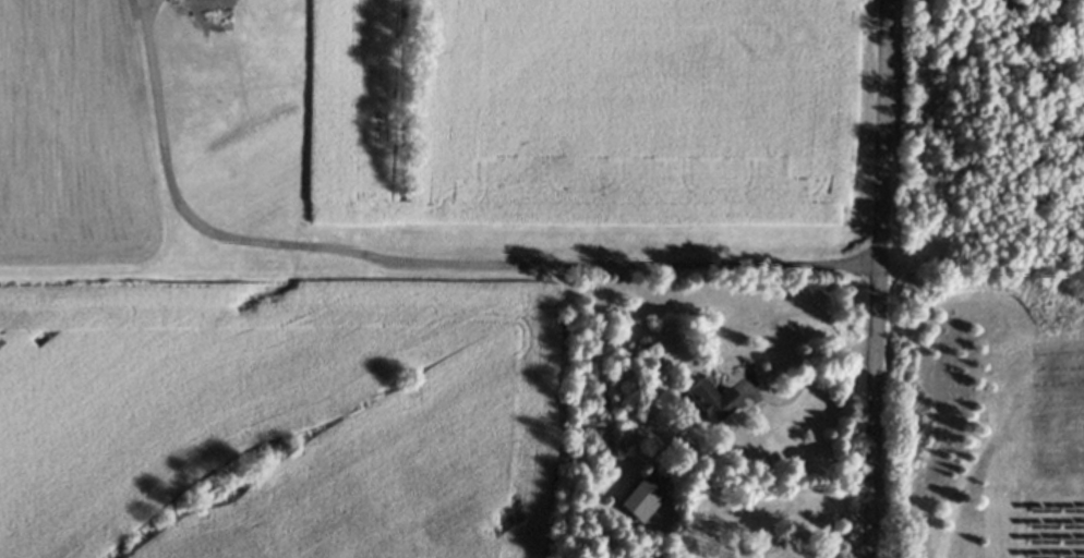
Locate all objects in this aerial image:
road: (166, 15)
road: (417, 277)
road: (886, 279)
road: (783, 383)
building: (713, 400)
building: (642, 500)
solar farm: (1052, 527)
building: (797, 549)

